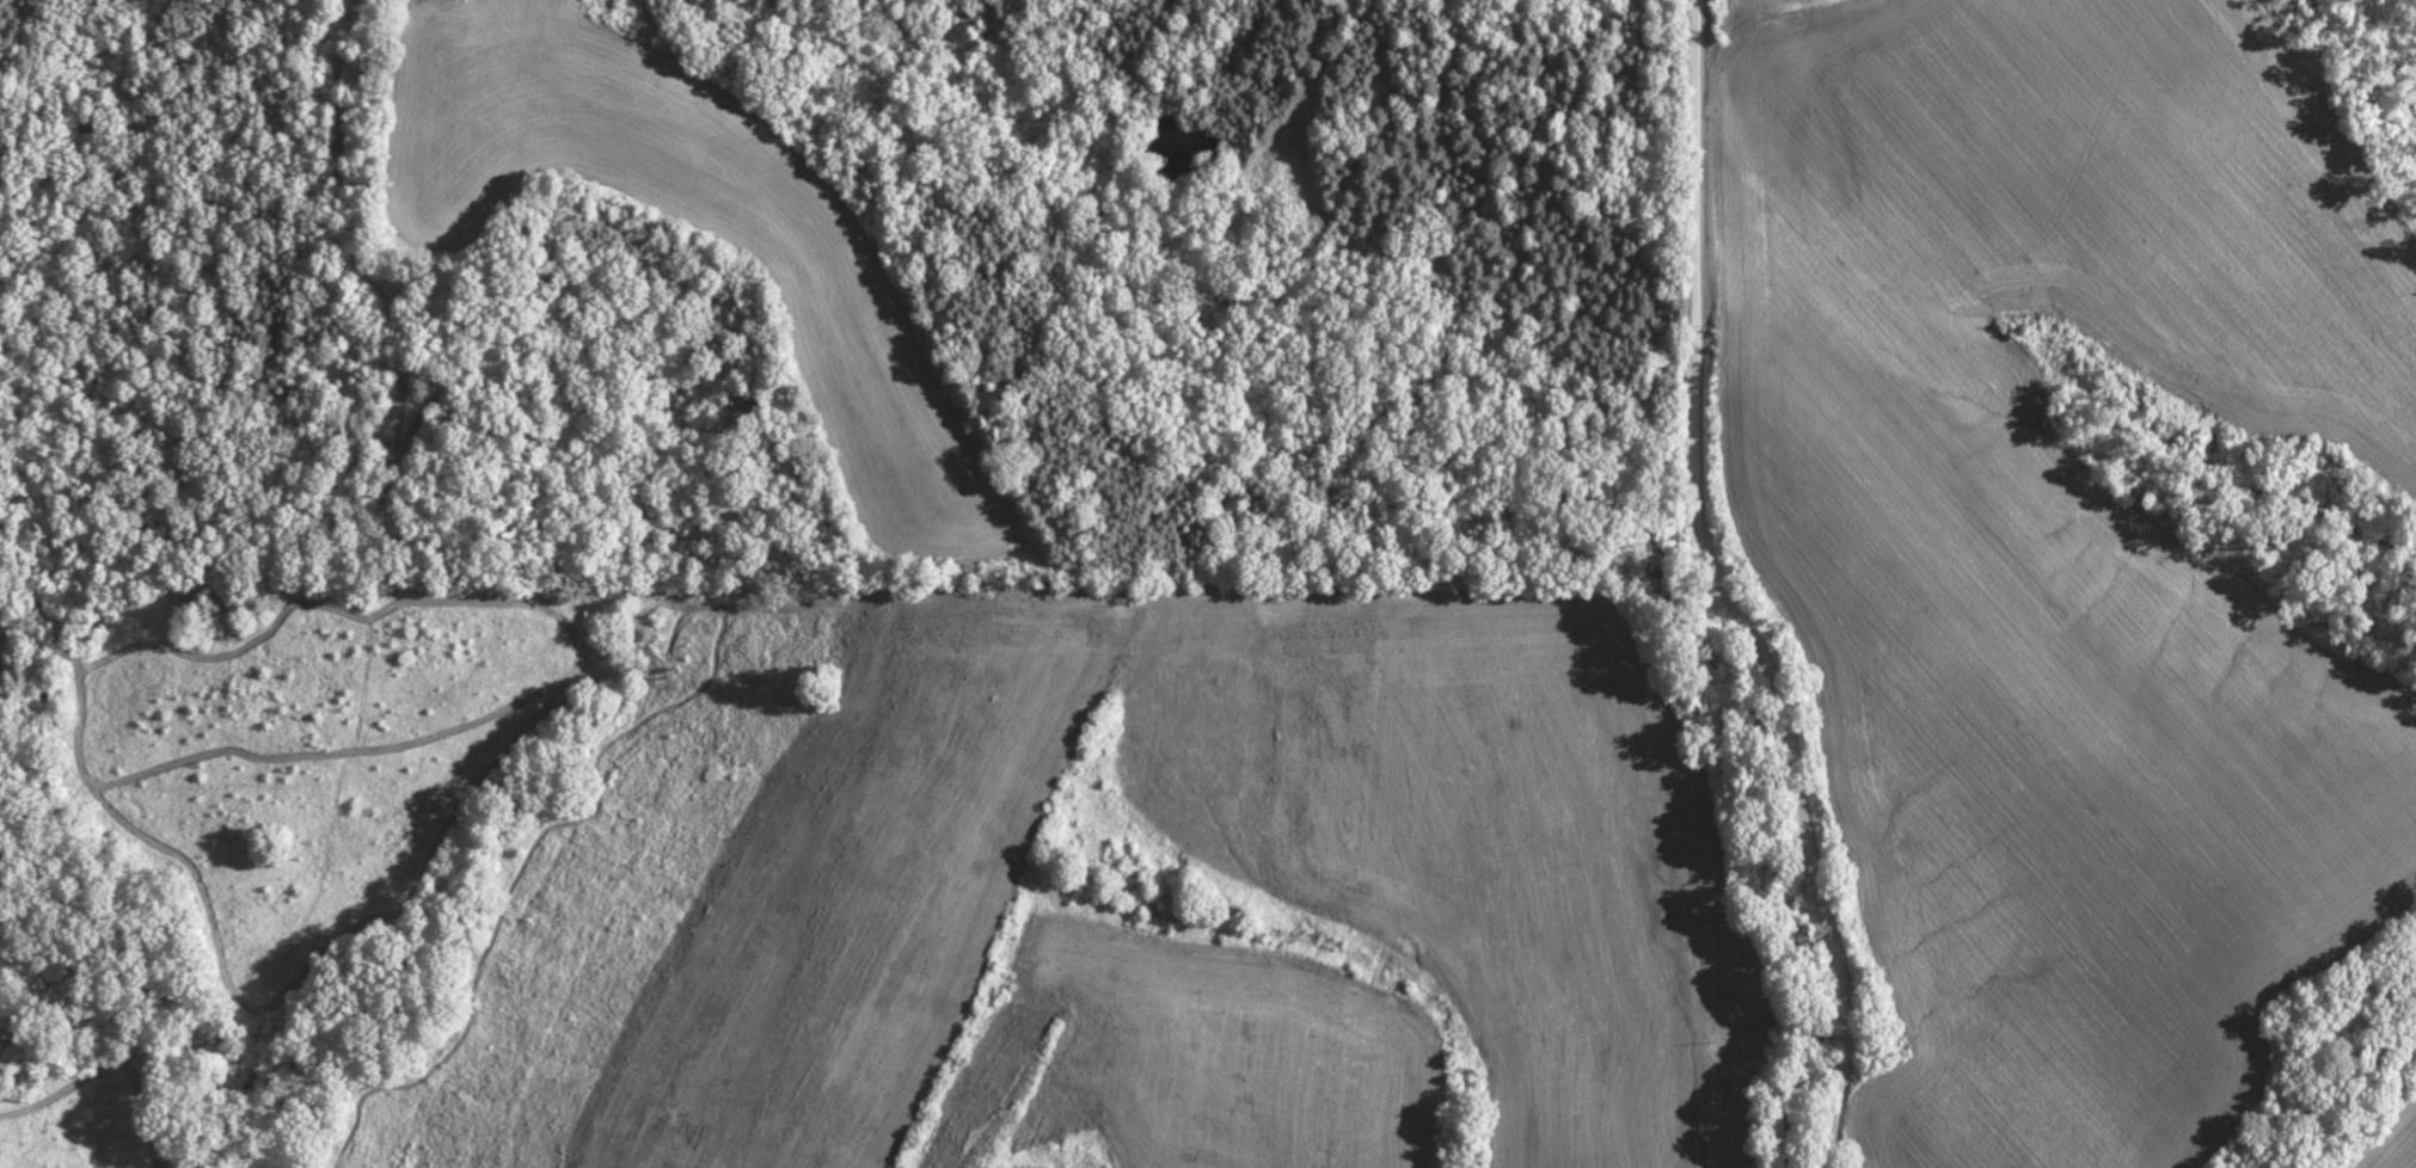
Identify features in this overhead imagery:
road: (1727, 591)

